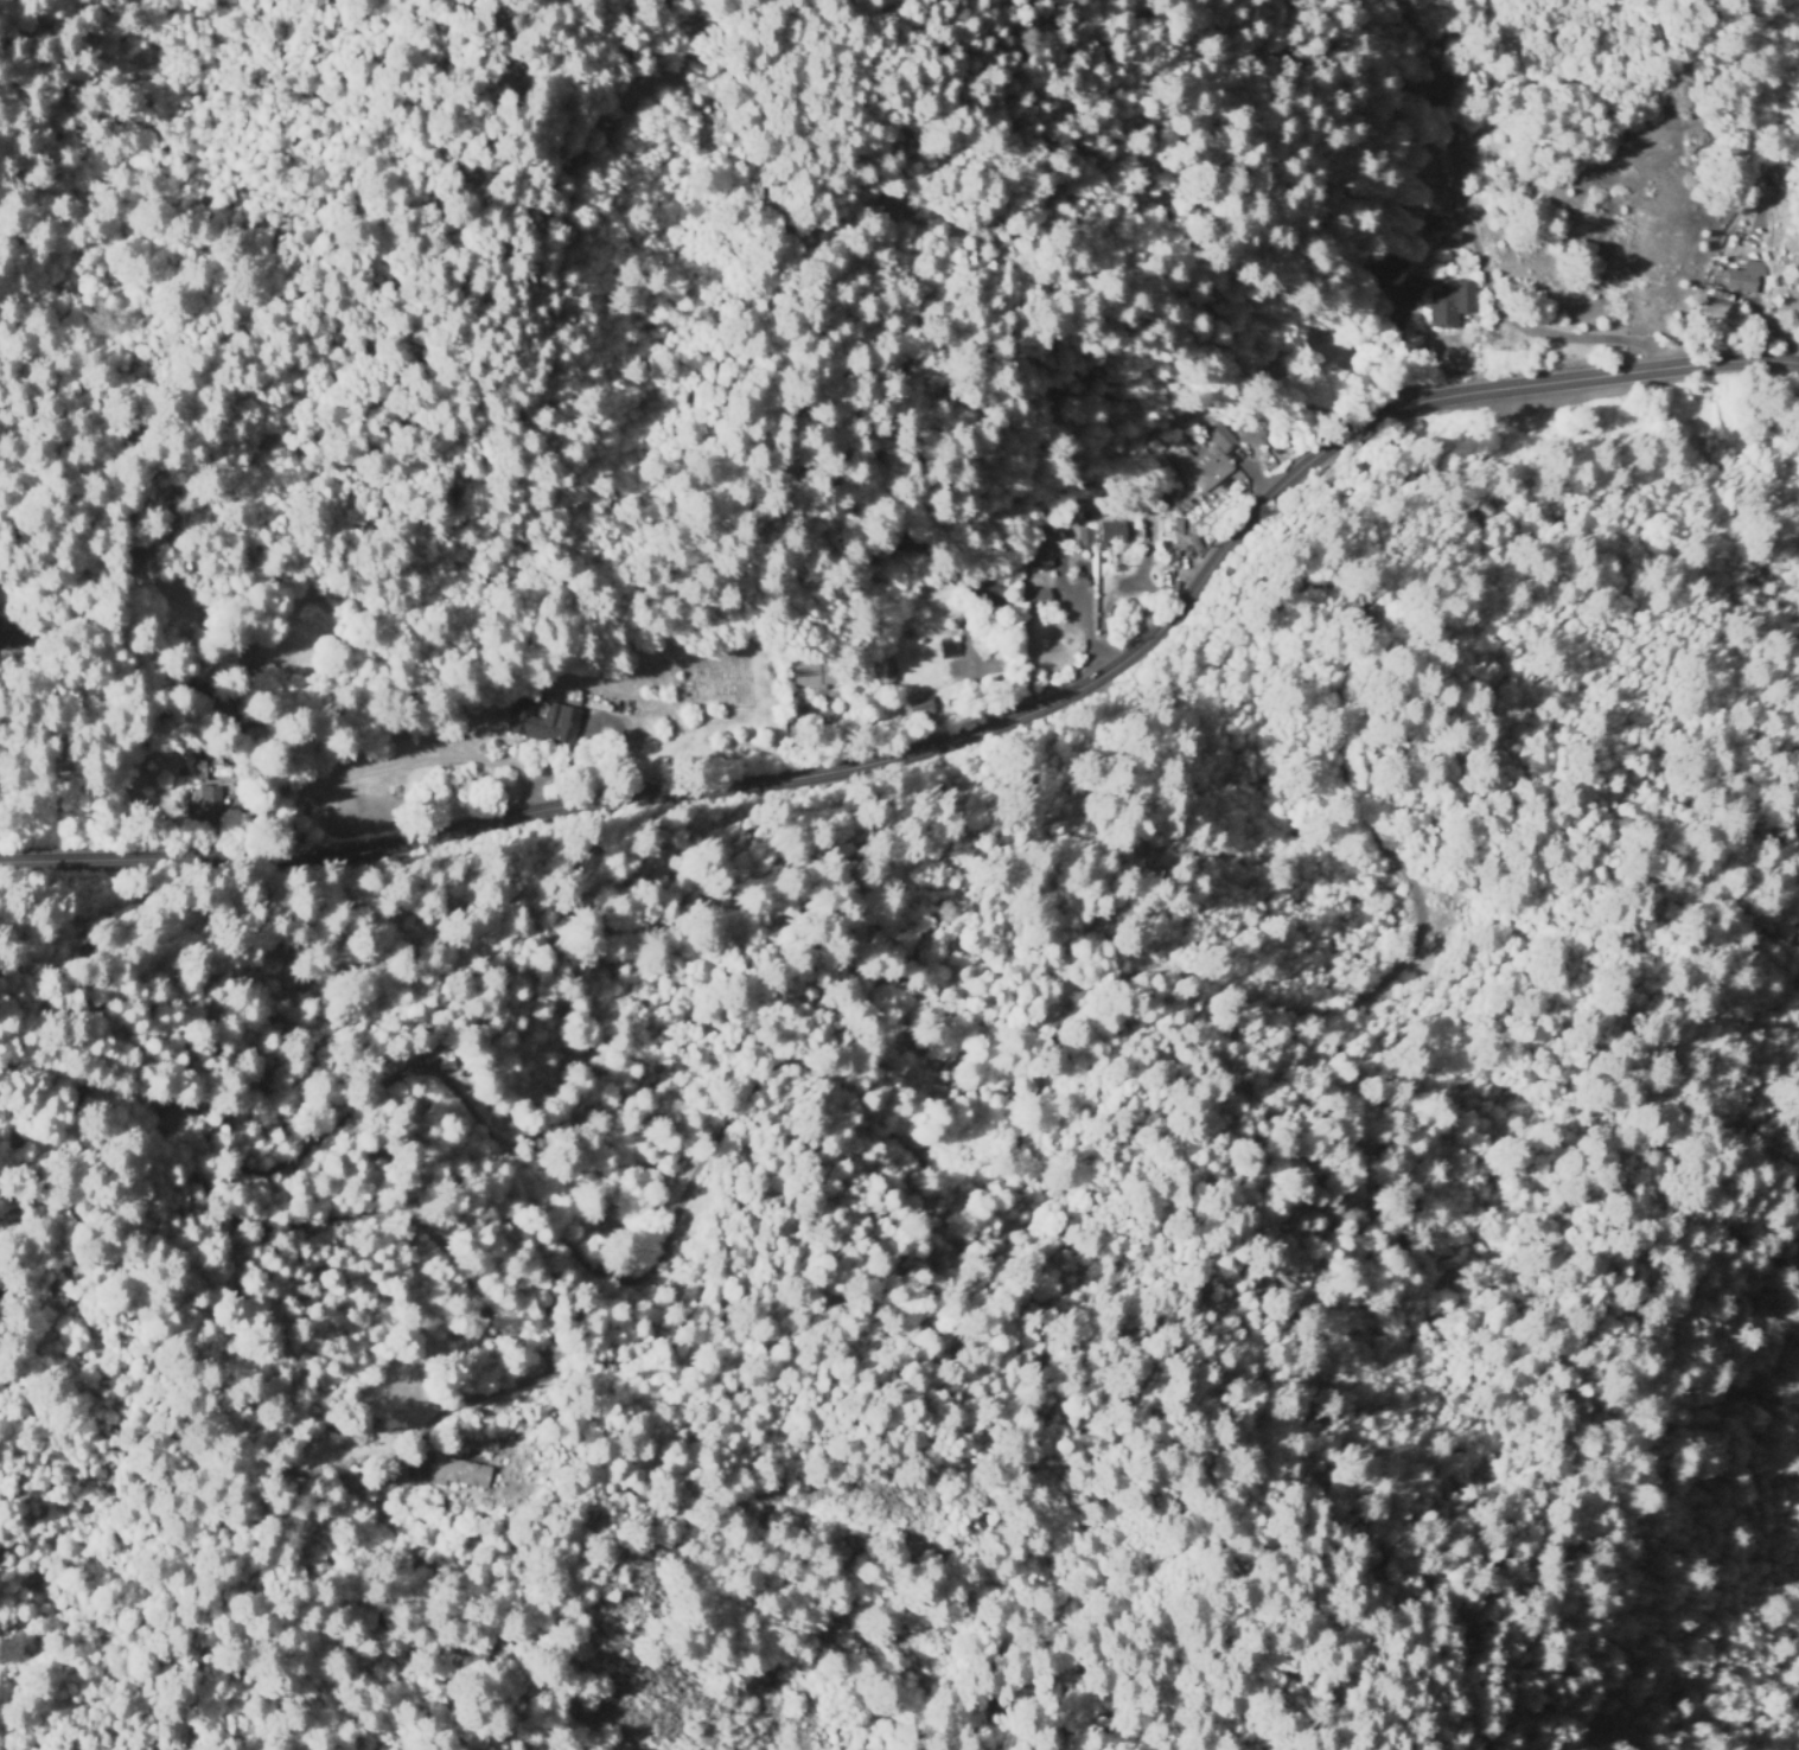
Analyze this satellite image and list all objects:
building: (1412, 6)
building: (1401, 269)
building: (1742, 277)
building: (1450, 305)
building: (1253, 437)
building: (1208, 461)
building: (1086, 513)
building: (1111, 535)
building: (1039, 553)
building: (1034, 595)
building: (17, 634)
building: (946, 649)
road: (287, 668)
building: (814, 673)
building: (880, 675)
building: (198, 700)
building: (920, 708)
building: (542, 722)
road: (956, 739)
building: (215, 769)
building: (208, 807)
building: (1, 1295)
building: (390, 1470)
building: (459, 1473)

